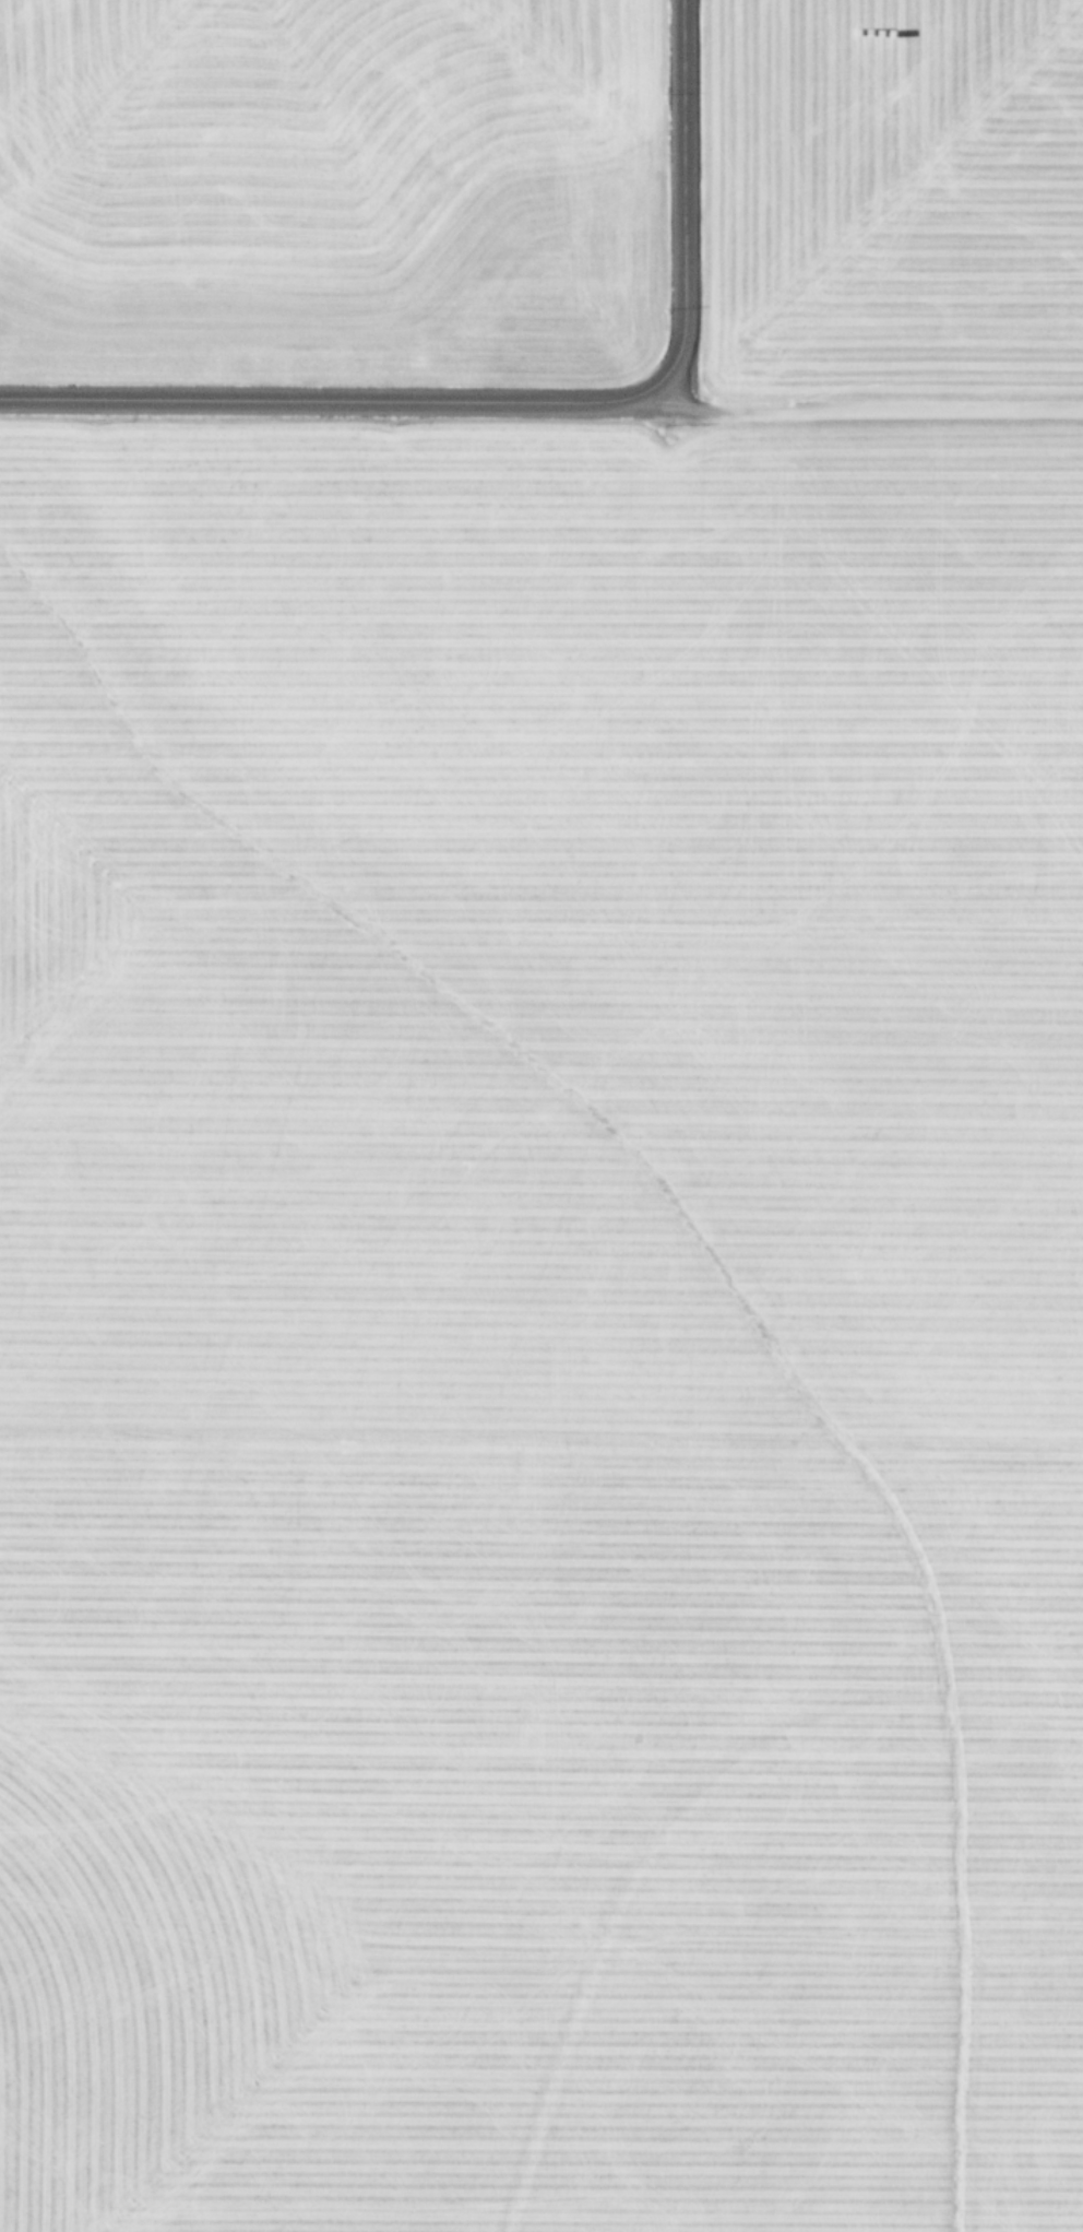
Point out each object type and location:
road: (523, 402)
crop: (541, 1115)

